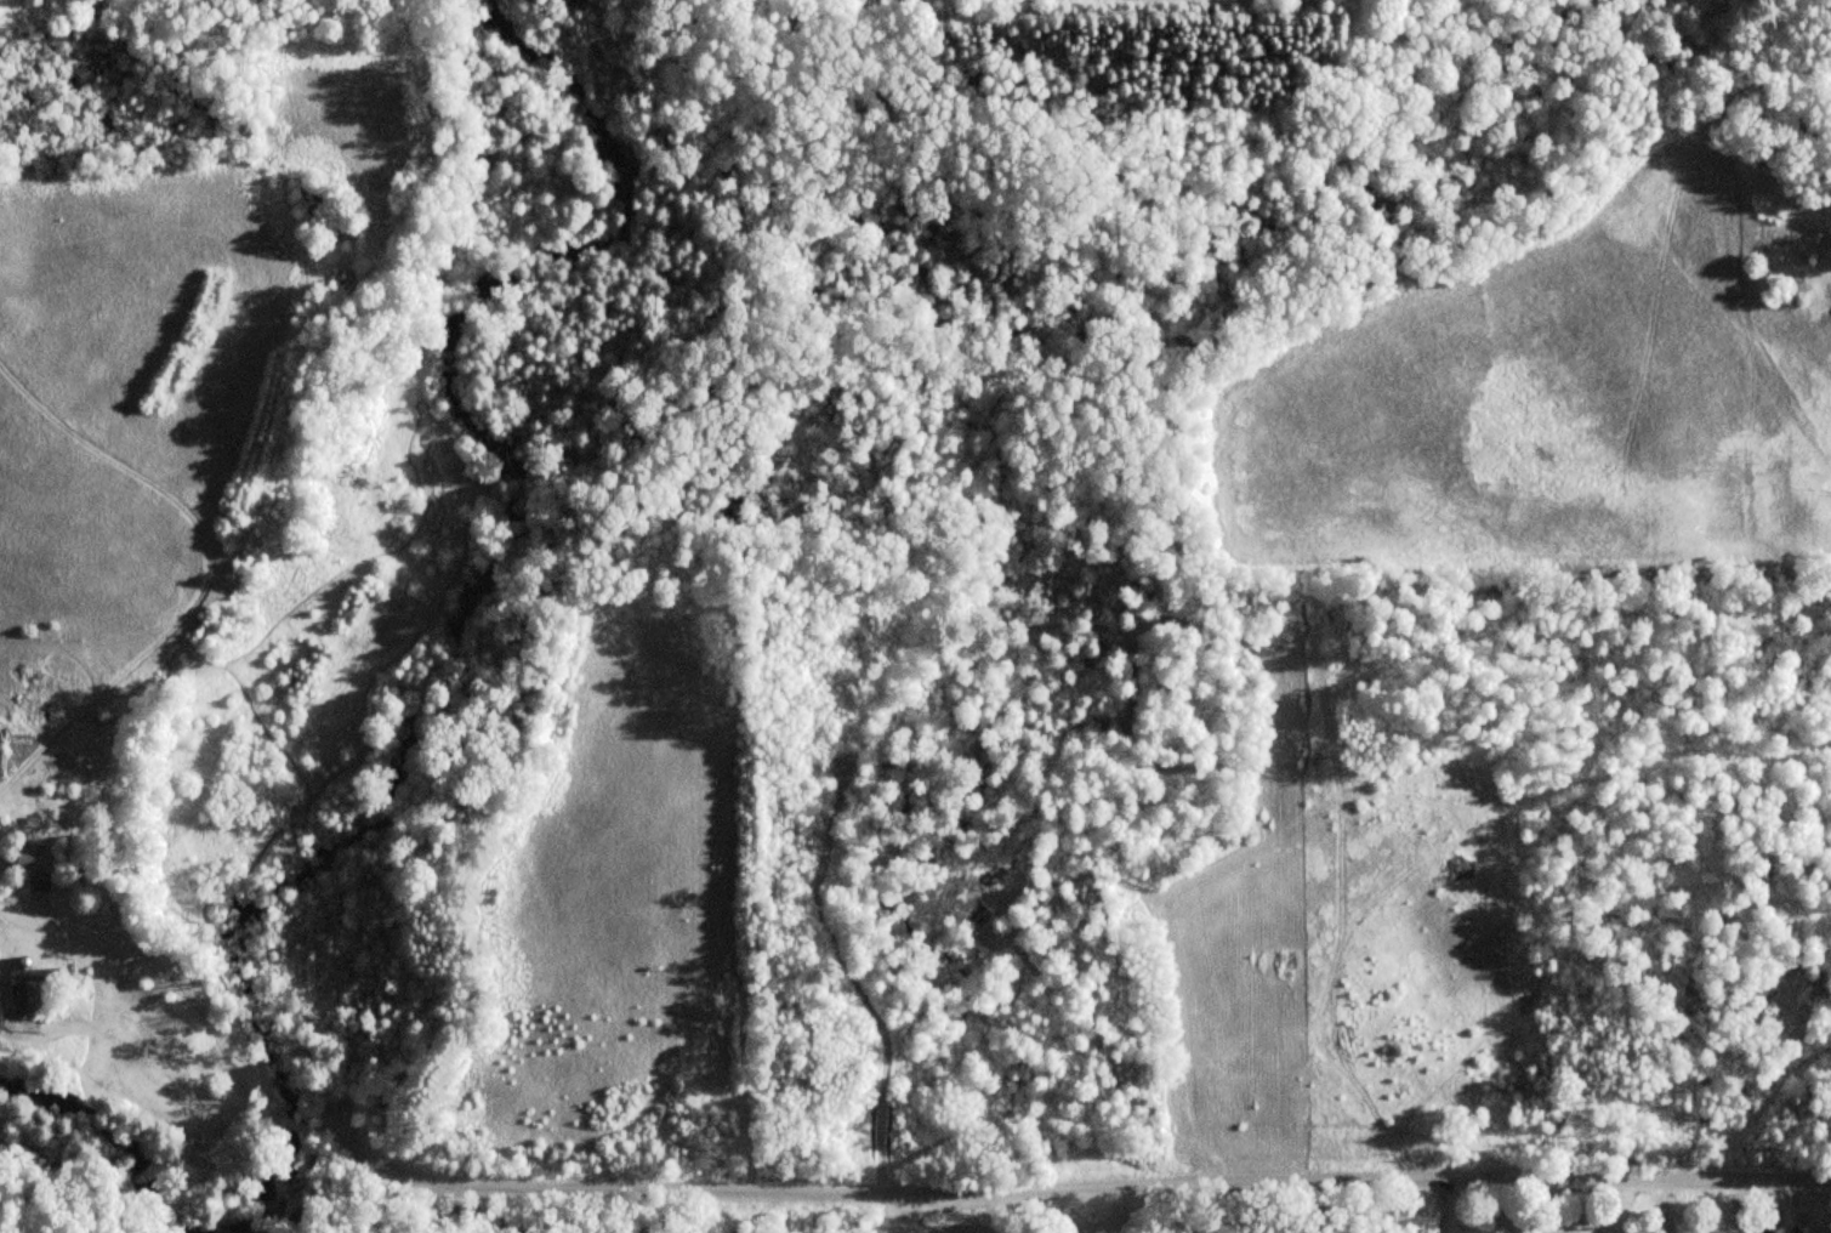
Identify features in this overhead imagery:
river: (414, 717)
building: (27, 858)
road: (172, 973)
building: (24, 987)
road: (296, 1125)
road: (322, 1132)
road: (1075, 1188)
road: (1451, 1205)

